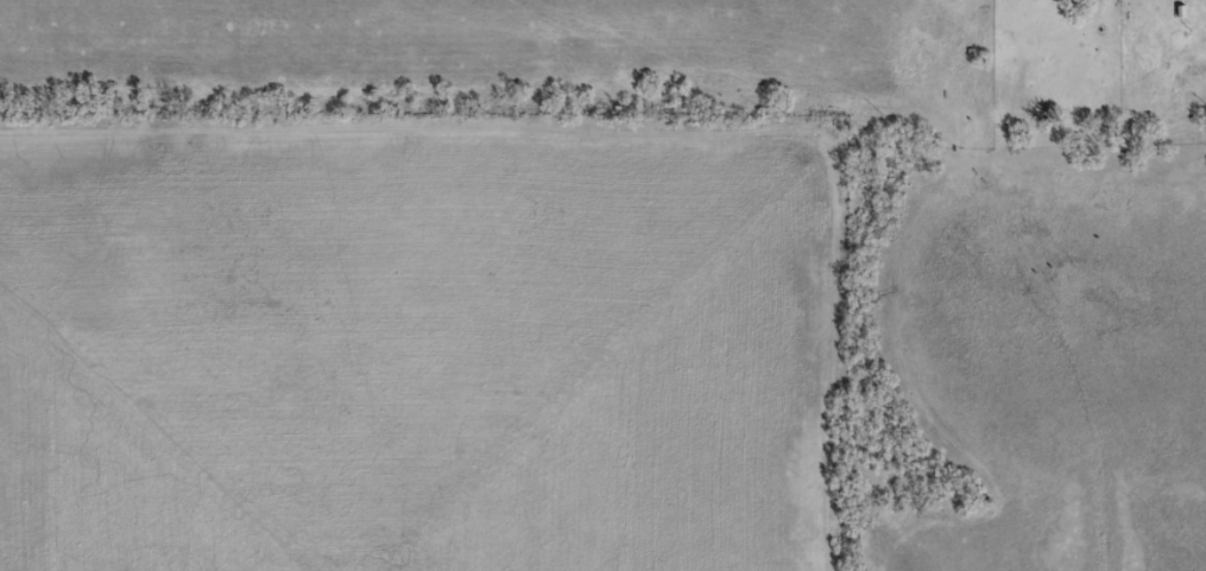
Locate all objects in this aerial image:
building: (1198, 7)

